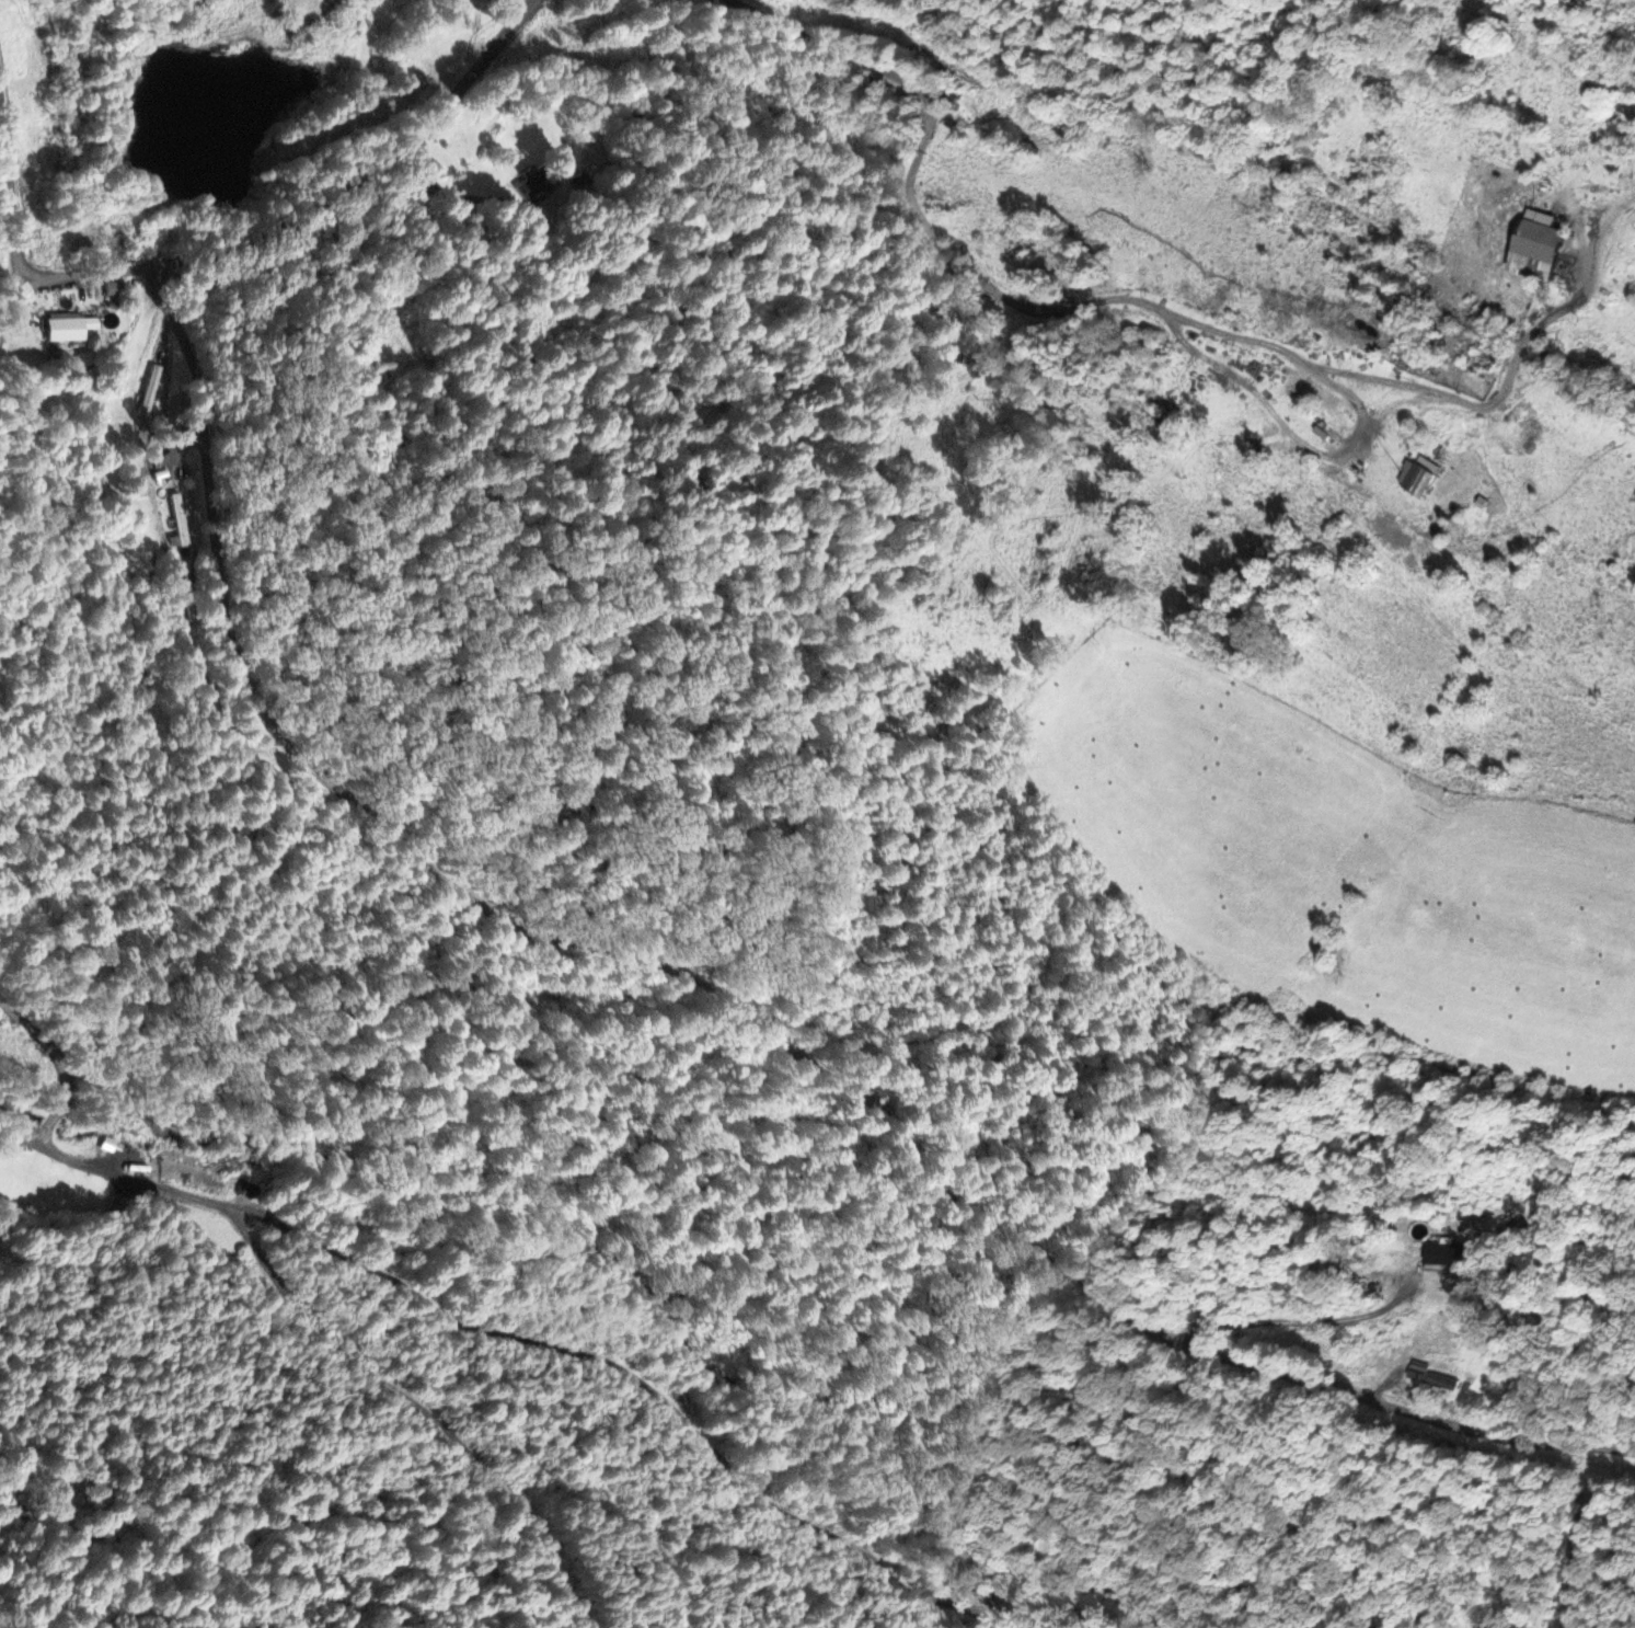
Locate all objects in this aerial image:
building: (533, 183)
road: (14, 185)
road: (314, 204)
building: (1536, 252)
road: (14, 290)
building: (113, 290)
road: (14, 307)
road: (1156, 309)
building: (68, 329)
building: (1415, 481)
building: (177, 521)
road: (710, 1039)
road: (62, 1076)
building: (118, 1205)
road: (542, 1340)
building: (1431, 1379)
road: (416, 1402)

